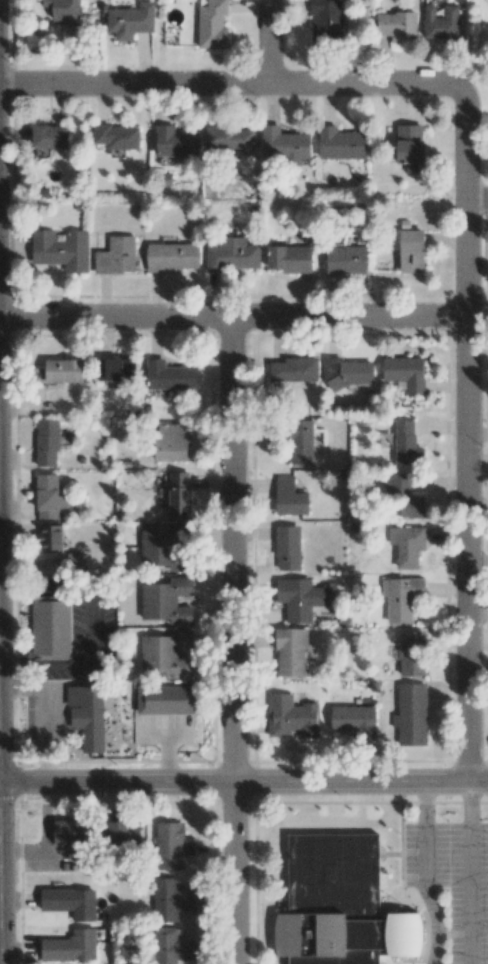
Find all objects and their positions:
building: (64, 11)
building: (130, 21)
building: (441, 22)
building: (325, 23)
building: (212, 25)
building: (397, 25)
road: (273, 43)
road: (232, 85)
building: (49, 136)
building: (117, 136)
building: (229, 137)
building: (175, 142)
building: (283, 144)
building: (341, 144)
building: (410, 147)
road: (479, 200)
building: (61, 249)
building: (411, 251)
building: (232, 255)
building: (116, 256)
building: (171, 256)
building: (289, 258)
building: (345, 260)
road: (234, 317)
building: (116, 369)
building: (294, 370)
building: (63, 371)
building: (348, 373)
building: (404, 373)
building: (169, 375)
road: (467, 436)
building: (301, 441)
building: (47, 442)
building: (171, 442)
building: (406, 444)
building: (179, 495)
building: (48, 496)
building: (404, 496)
building: (289, 497)
building: (49, 537)
building: (407, 545)
building: (164, 547)
building: (287, 548)
building: (75, 562)
building: (401, 597)
building: (300, 598)
building: (166, 601)
building: (51, 627)
road: (234, 640)
building: (290, 651)
building: (411, 653)
building: (166, 655)
building: (165, 699)
building: (87, 715)
building: (411, 715)
building: (291, 716)
building: (355, 721)
road: (243, 786)
building: (67, 832)
building: (122, 833)
building: (172, 845)
road: (424, 875)
road: (468, 875)
building: (170, 899)
road: (0, 901)
building: (70, 902)
building: (335, 909)
building: (70, 946)
building: (171, 947)

